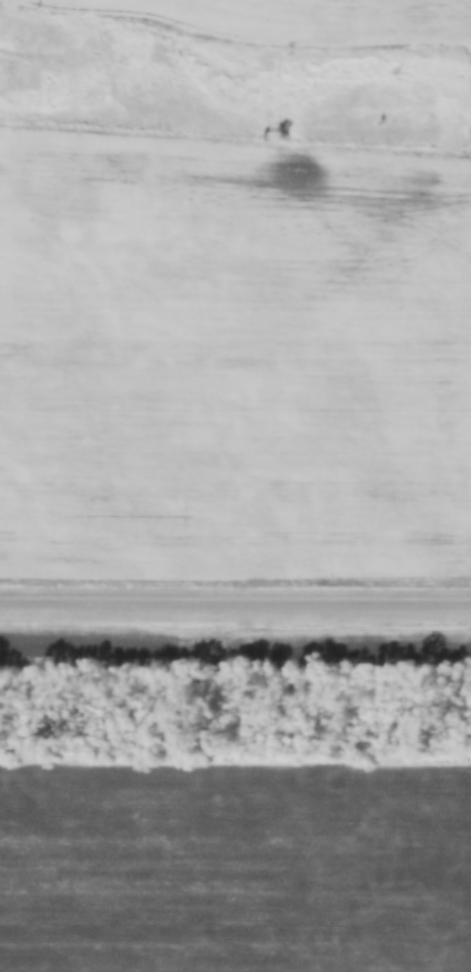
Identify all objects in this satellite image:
road: (235, 601)

